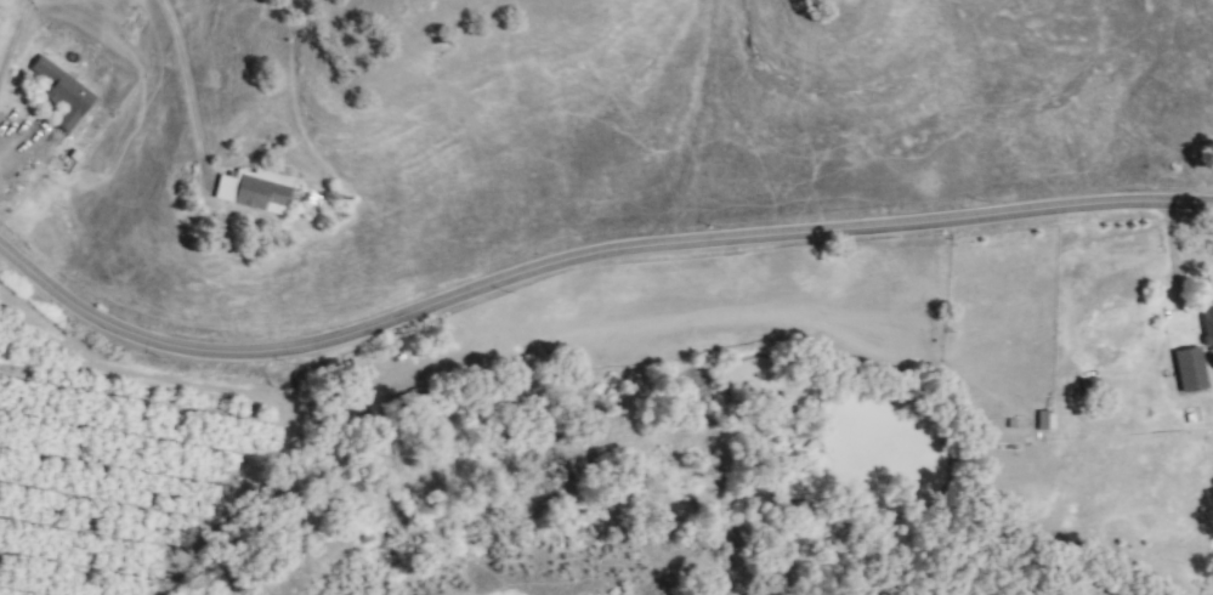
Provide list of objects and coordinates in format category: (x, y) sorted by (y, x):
road: (13, 44)
road: (186, 74)
building: (66, 95)
building: (256, 192)
road: (584, 260)
building: (1209, 325)
building: (1191, 358)
building: (1044, 420)

